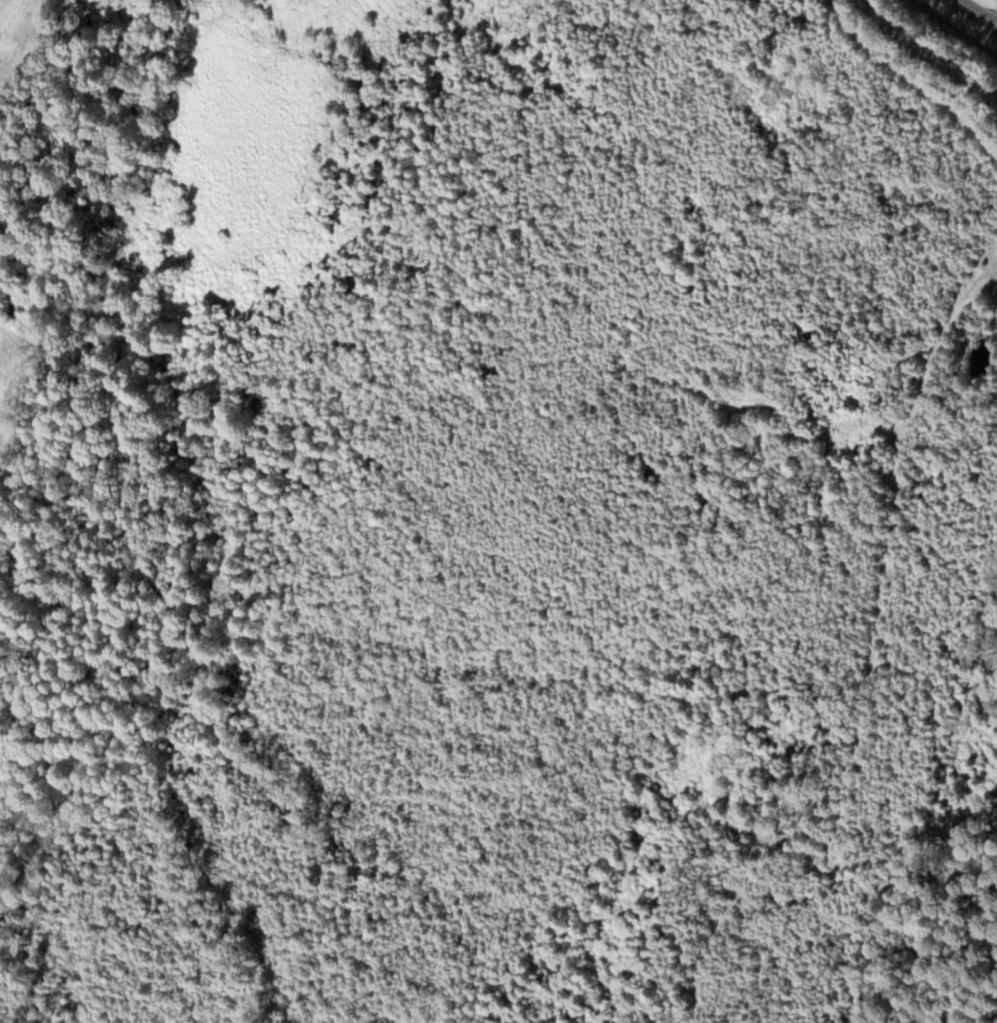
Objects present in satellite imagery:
road: (979, 11)
road: (995, 18)

